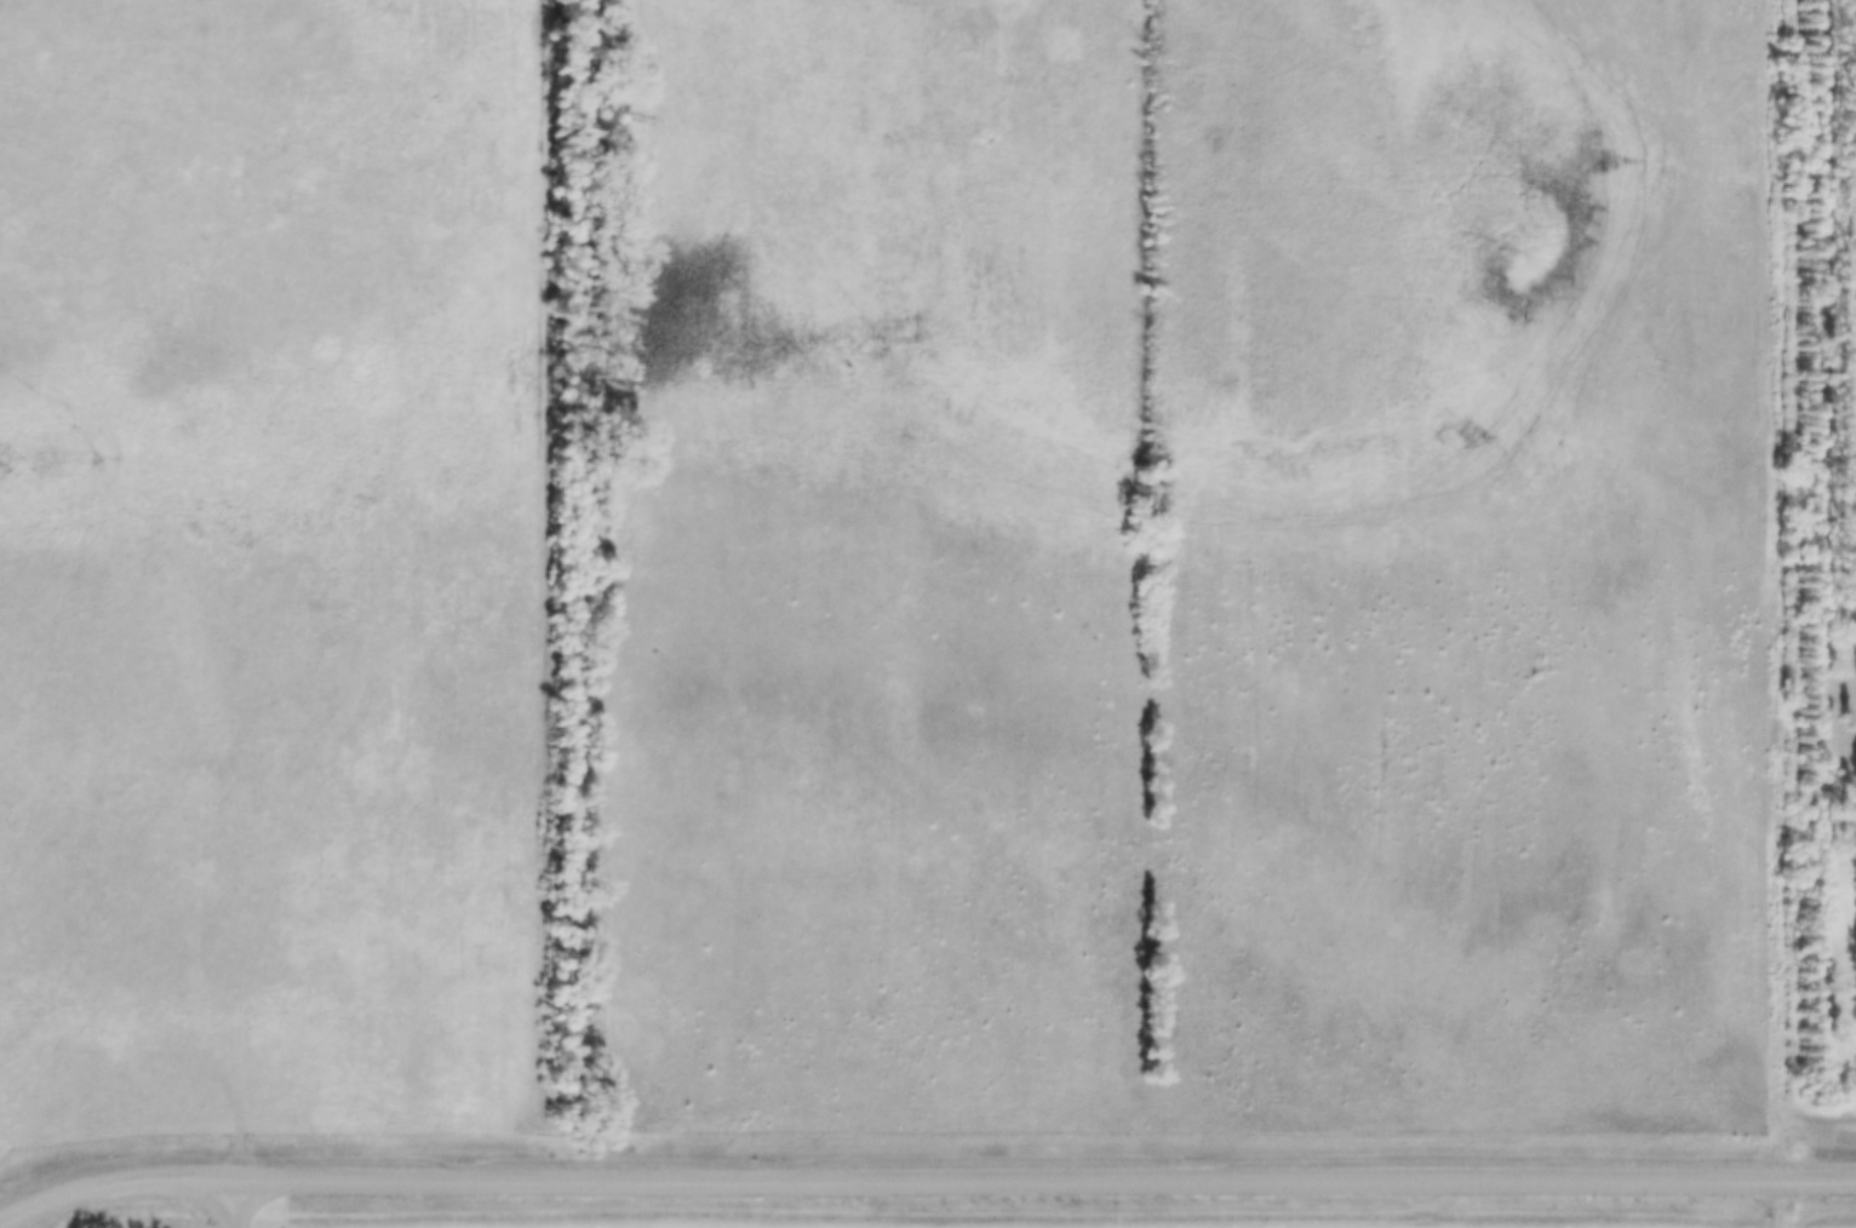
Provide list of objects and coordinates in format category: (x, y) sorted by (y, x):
road: (380, 581)
road: (1749, 595)
road: (115, 971)
road: (113, 1176)
road: (1044, 1176)
road: (1776, 1199)
road: (233, 1201)

